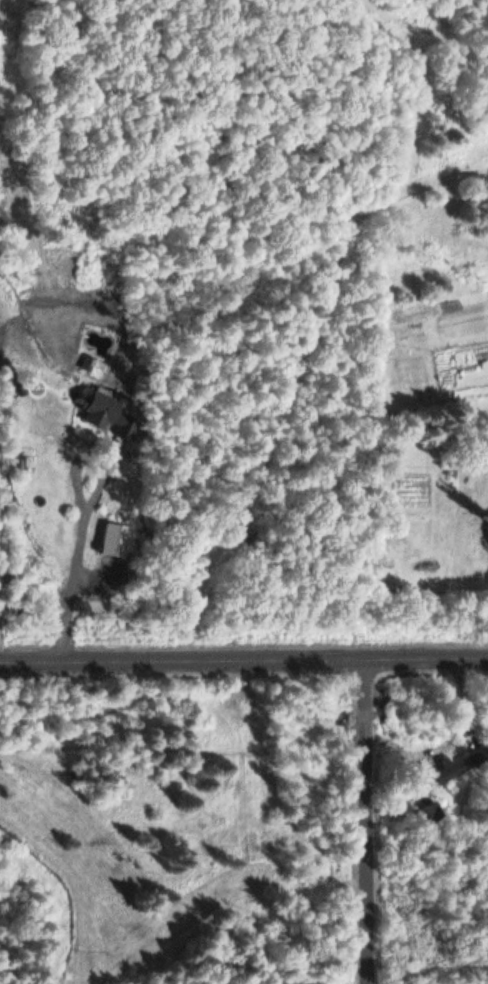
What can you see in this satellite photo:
building: (100, 409)
building: (113, 538)
road: (244, 656)
building: (470, 759)
building: (429, 814)
road: (362, 820)

